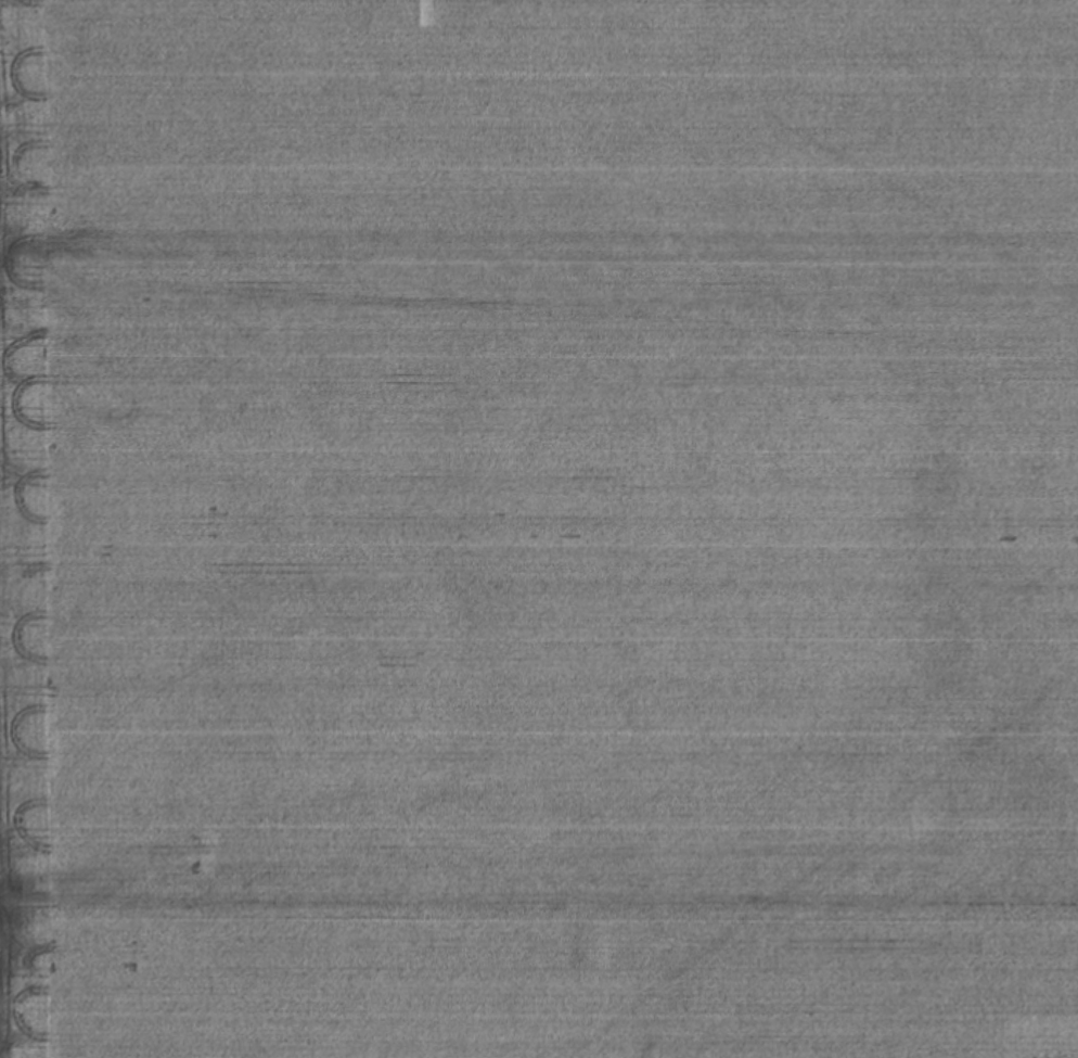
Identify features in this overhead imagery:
crop: (539, 528)

